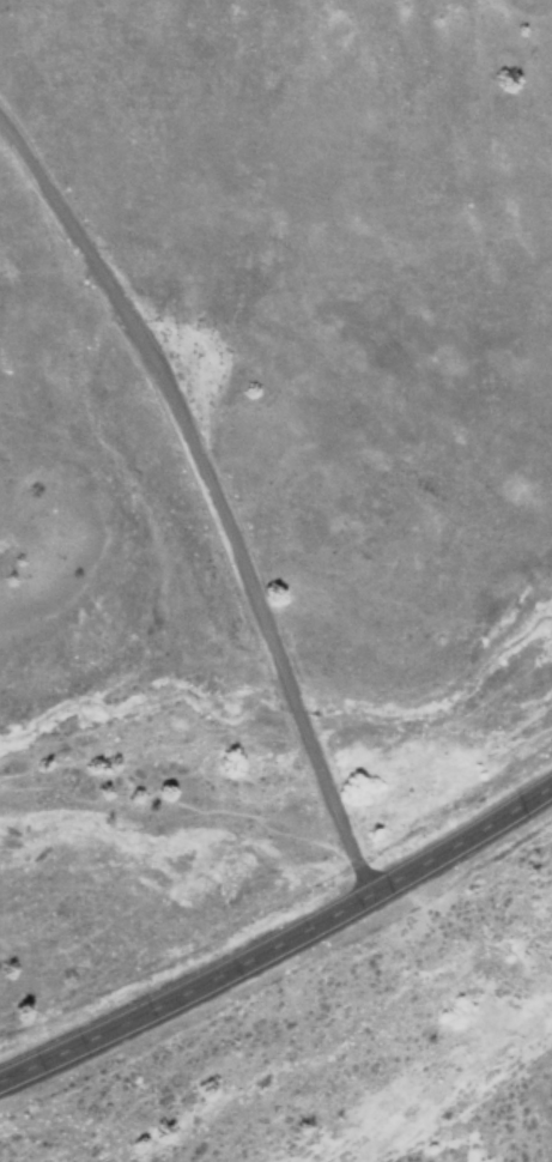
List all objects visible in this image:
road: (207, 494)
road: (280, 939)

